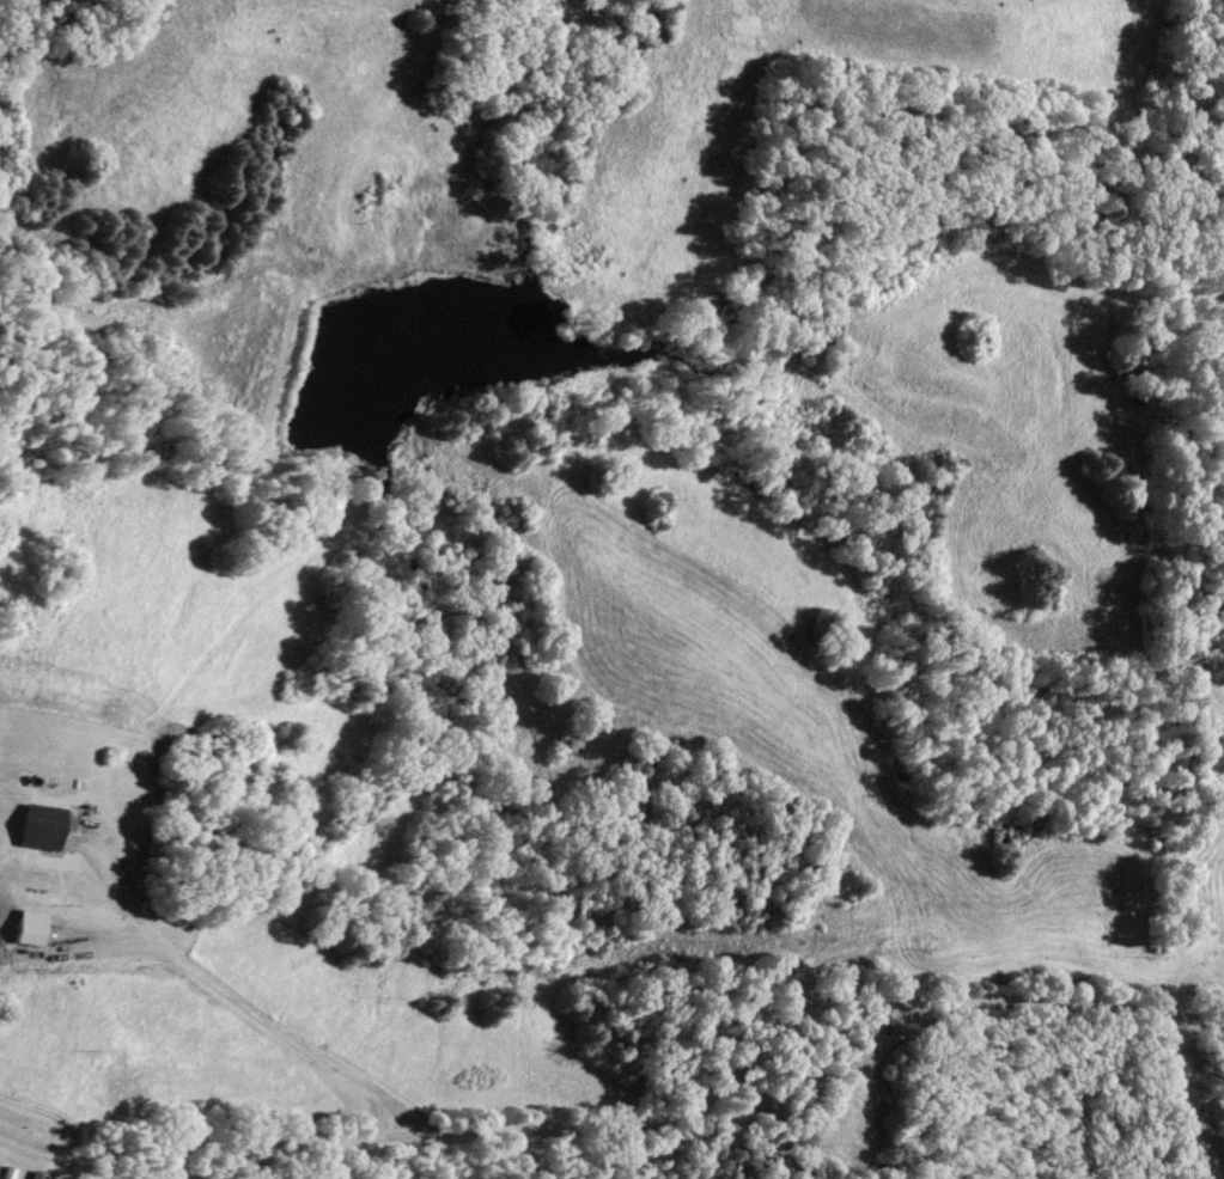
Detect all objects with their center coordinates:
building: (43, 827)
building: (34, 928)
road: (251, 1014)
road: (660, 1117)
building: (38, 1175)

